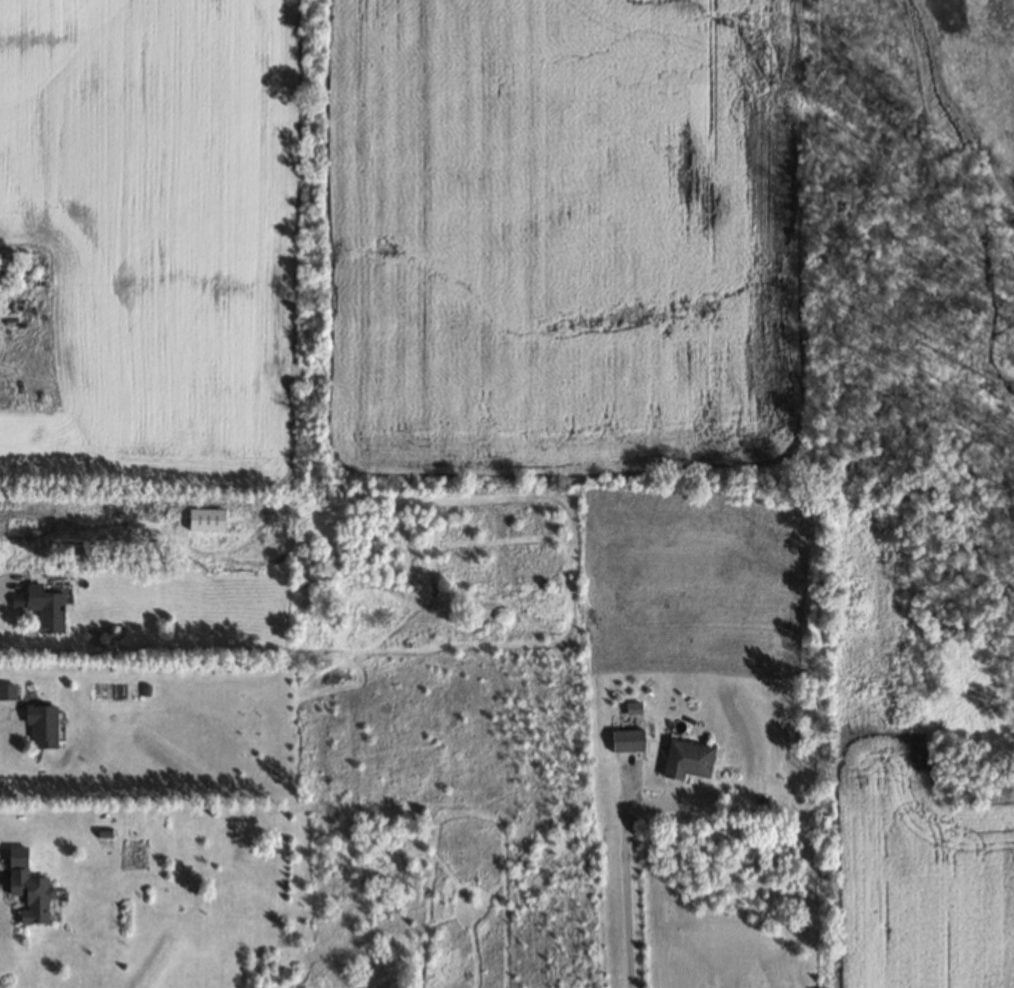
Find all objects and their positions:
building: (206, 519)
road: (9, 590)
building: (45, 607)
road: (6, 713)
building: (42, 725)
building: (627, 740)
building: (687, 760)
building: (27, 887)

